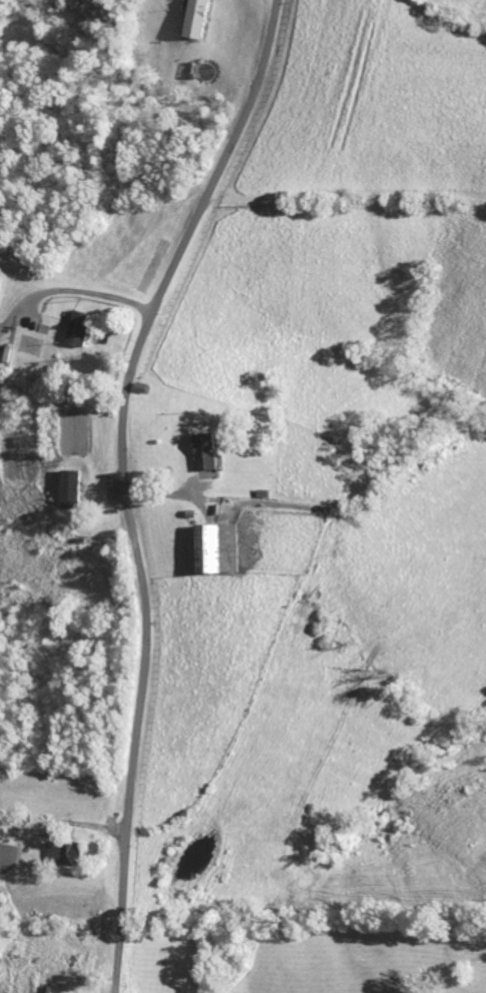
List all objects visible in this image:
building: (197, 19)
building: (1, 284)
road: (92, 293)
building: (82, 329)
building: (208, 452)
road: (124, 483)
building: (70, 490)

